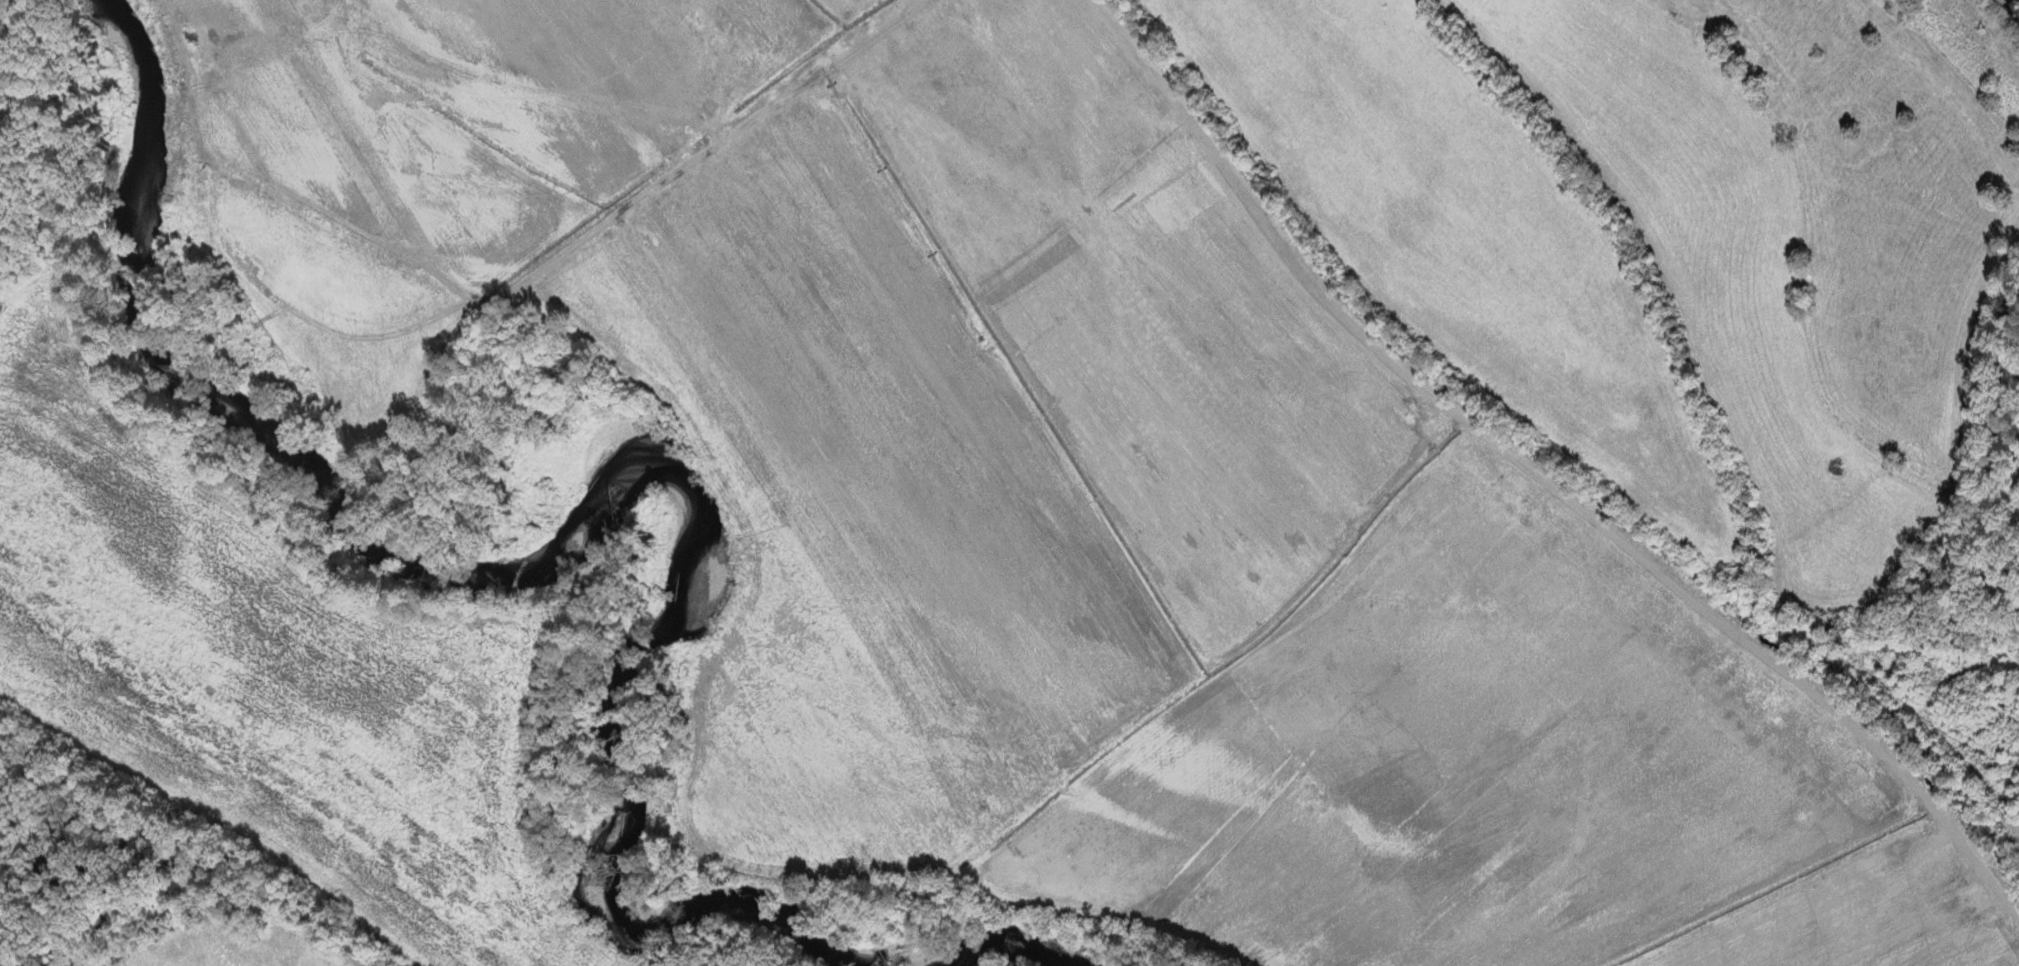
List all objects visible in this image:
building: (2018, 0)
river: (593, 500)
river: (976, 951)

